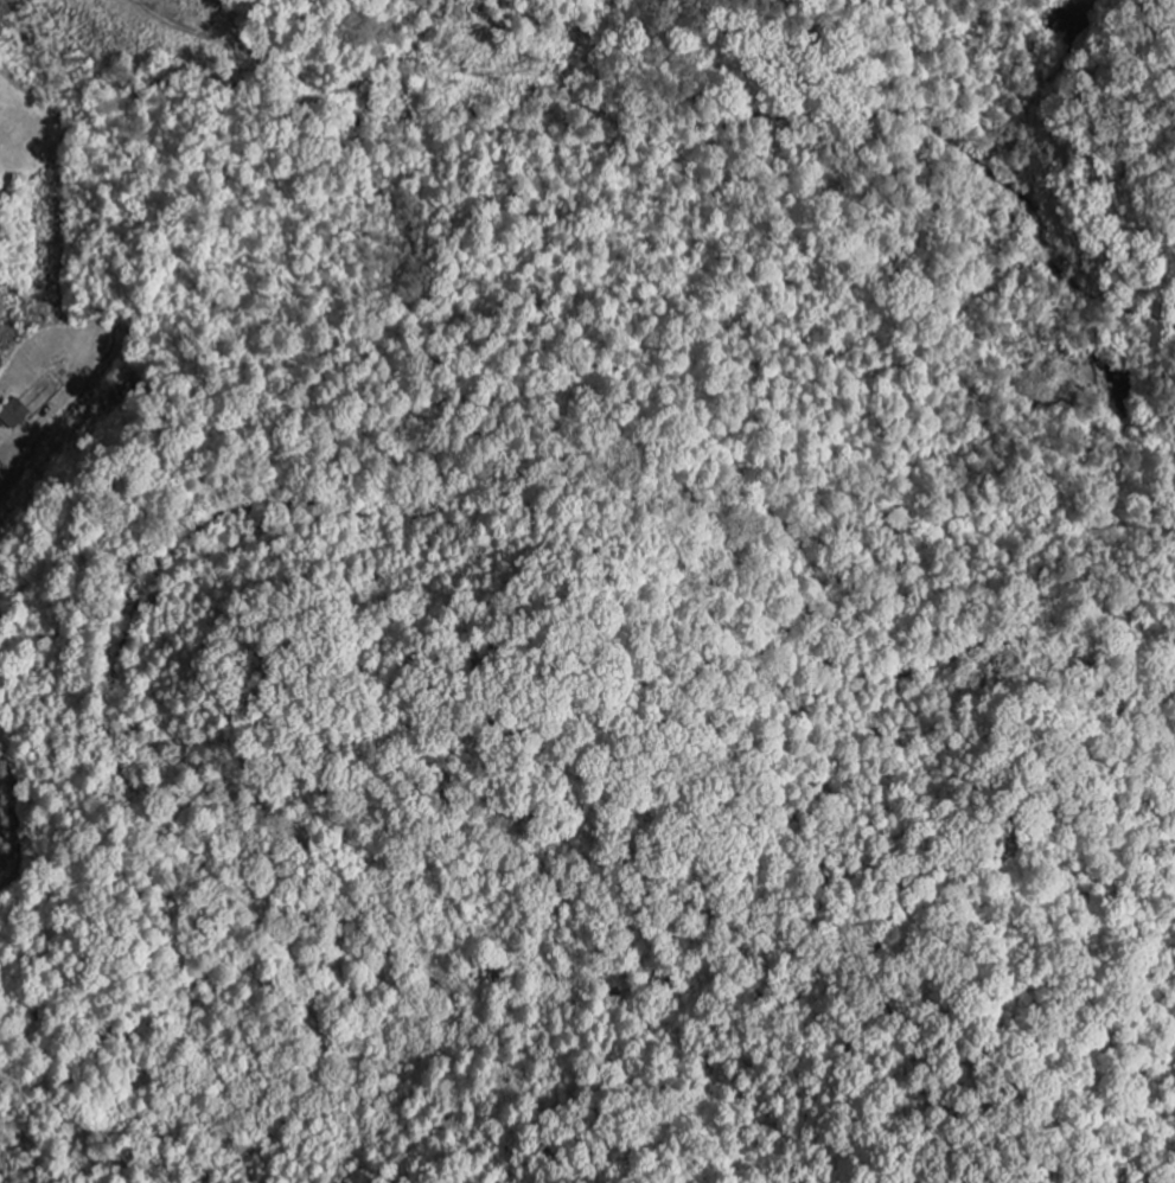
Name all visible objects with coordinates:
building: (11, 415)

